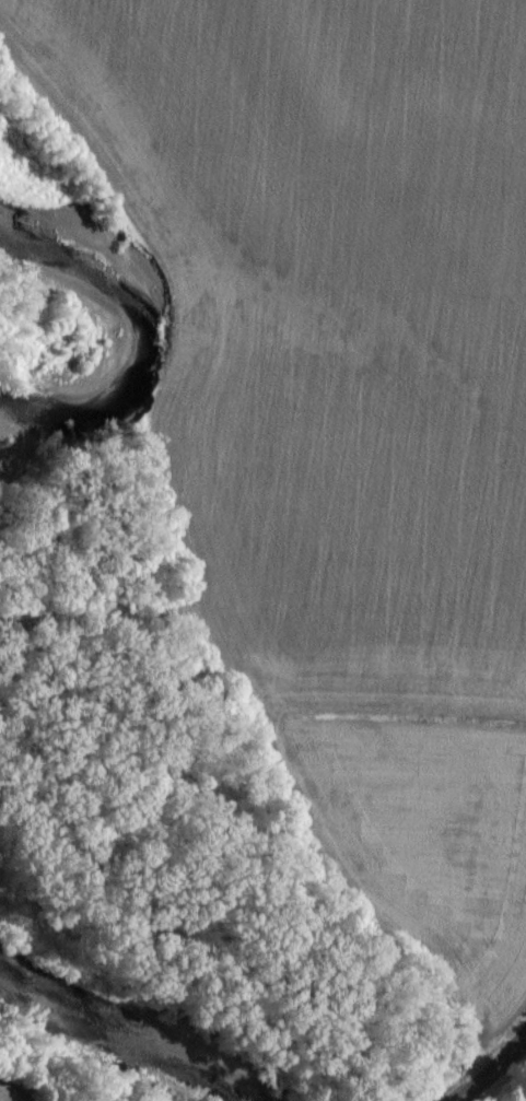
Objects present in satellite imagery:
road: (489, 1069)

